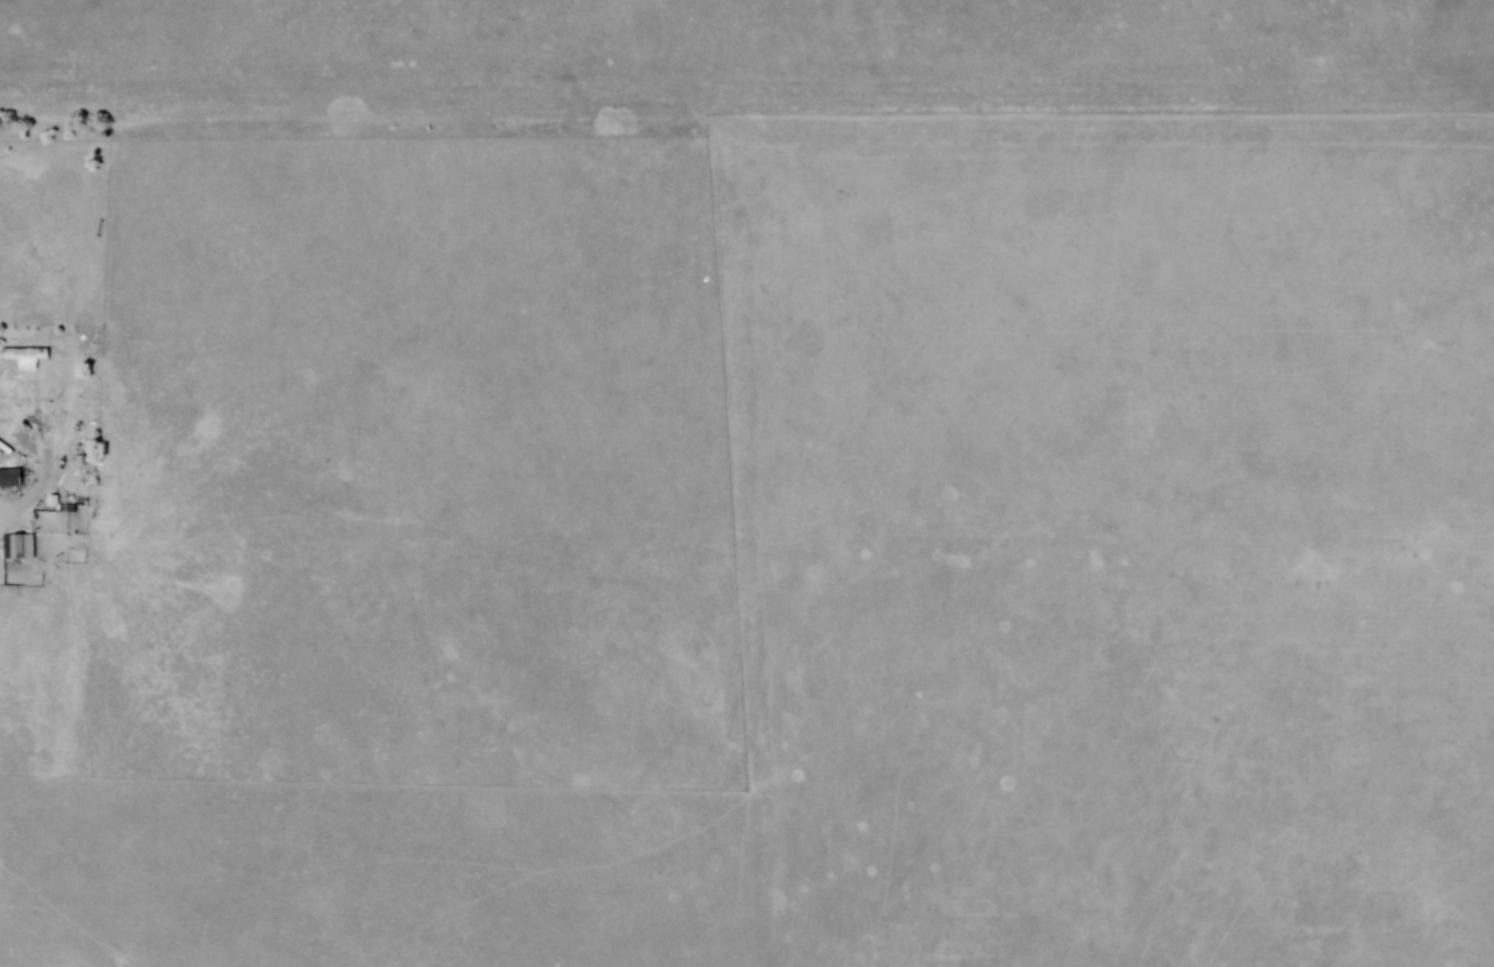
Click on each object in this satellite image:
building: (9, 478)
road: (3, 518)
building: (16, 547)

